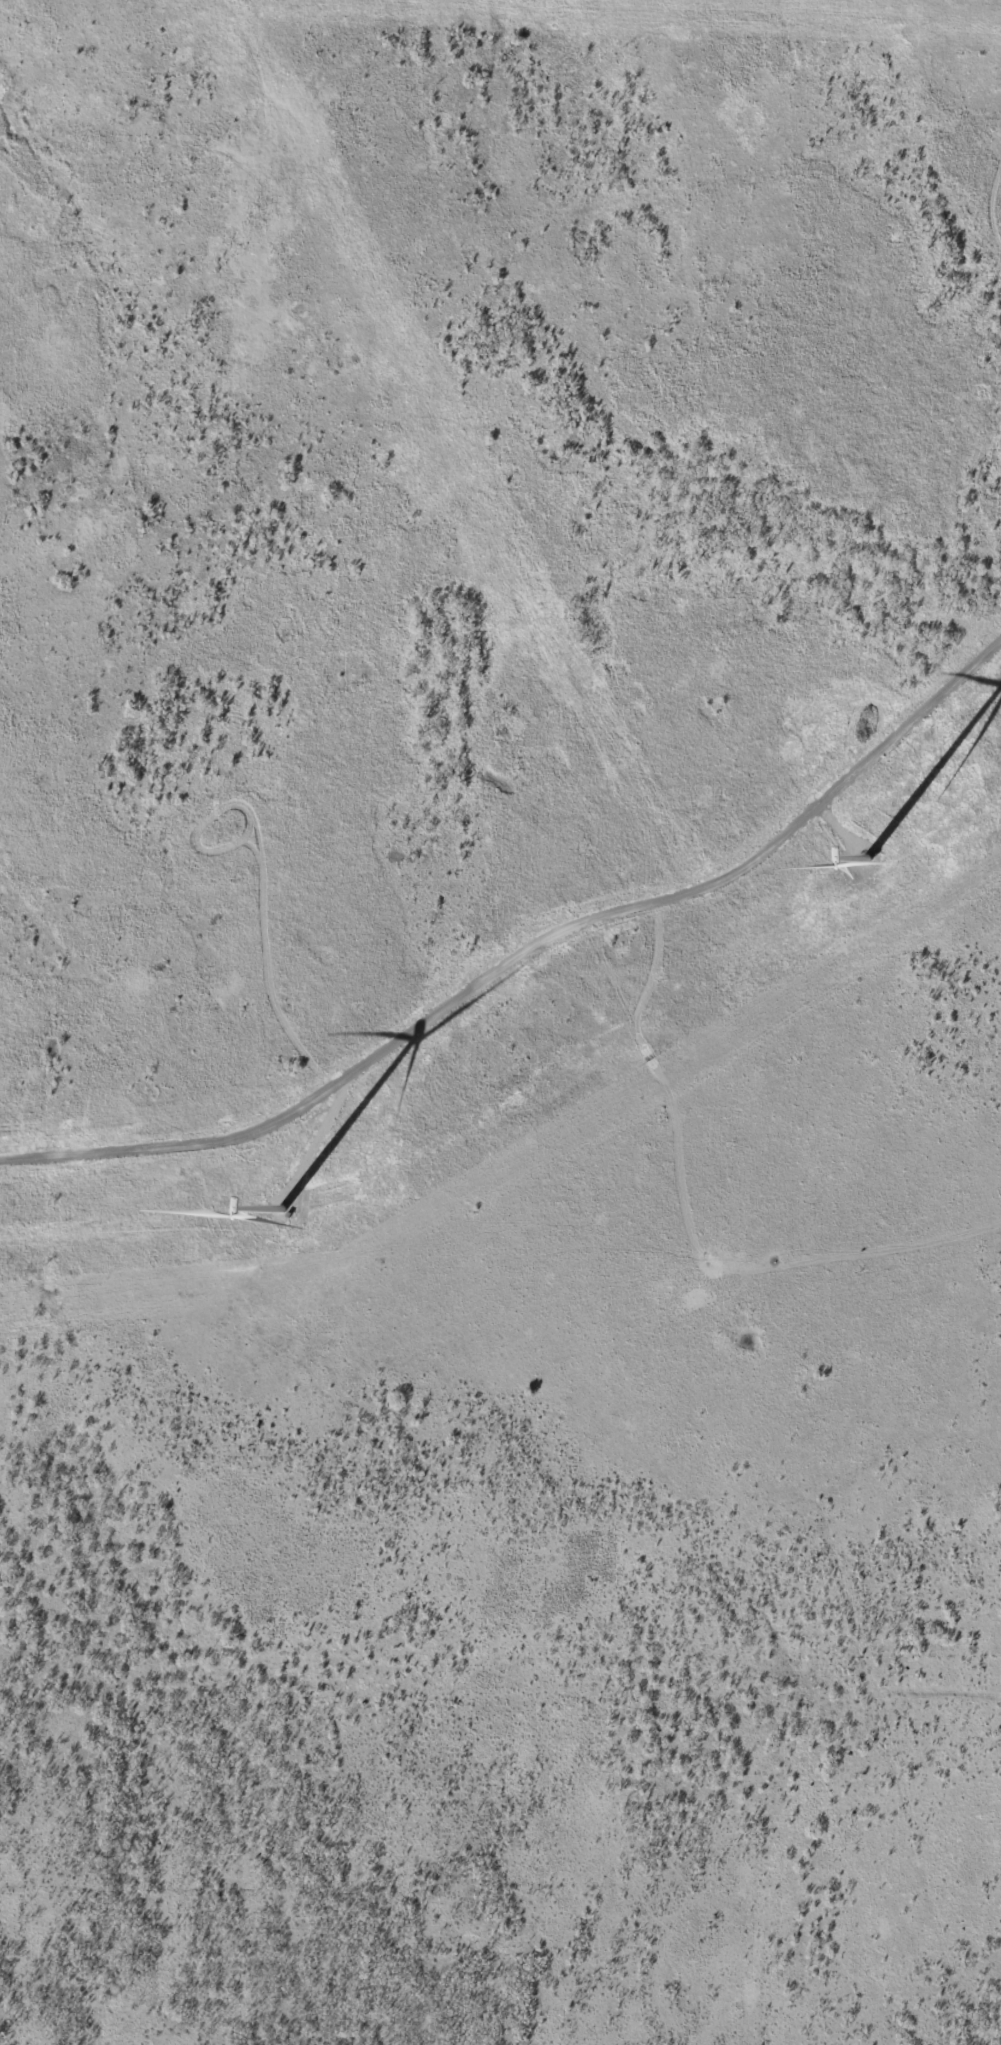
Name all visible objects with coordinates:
wind turbine: (864, 859)
wind turbine: (278, 1213)

